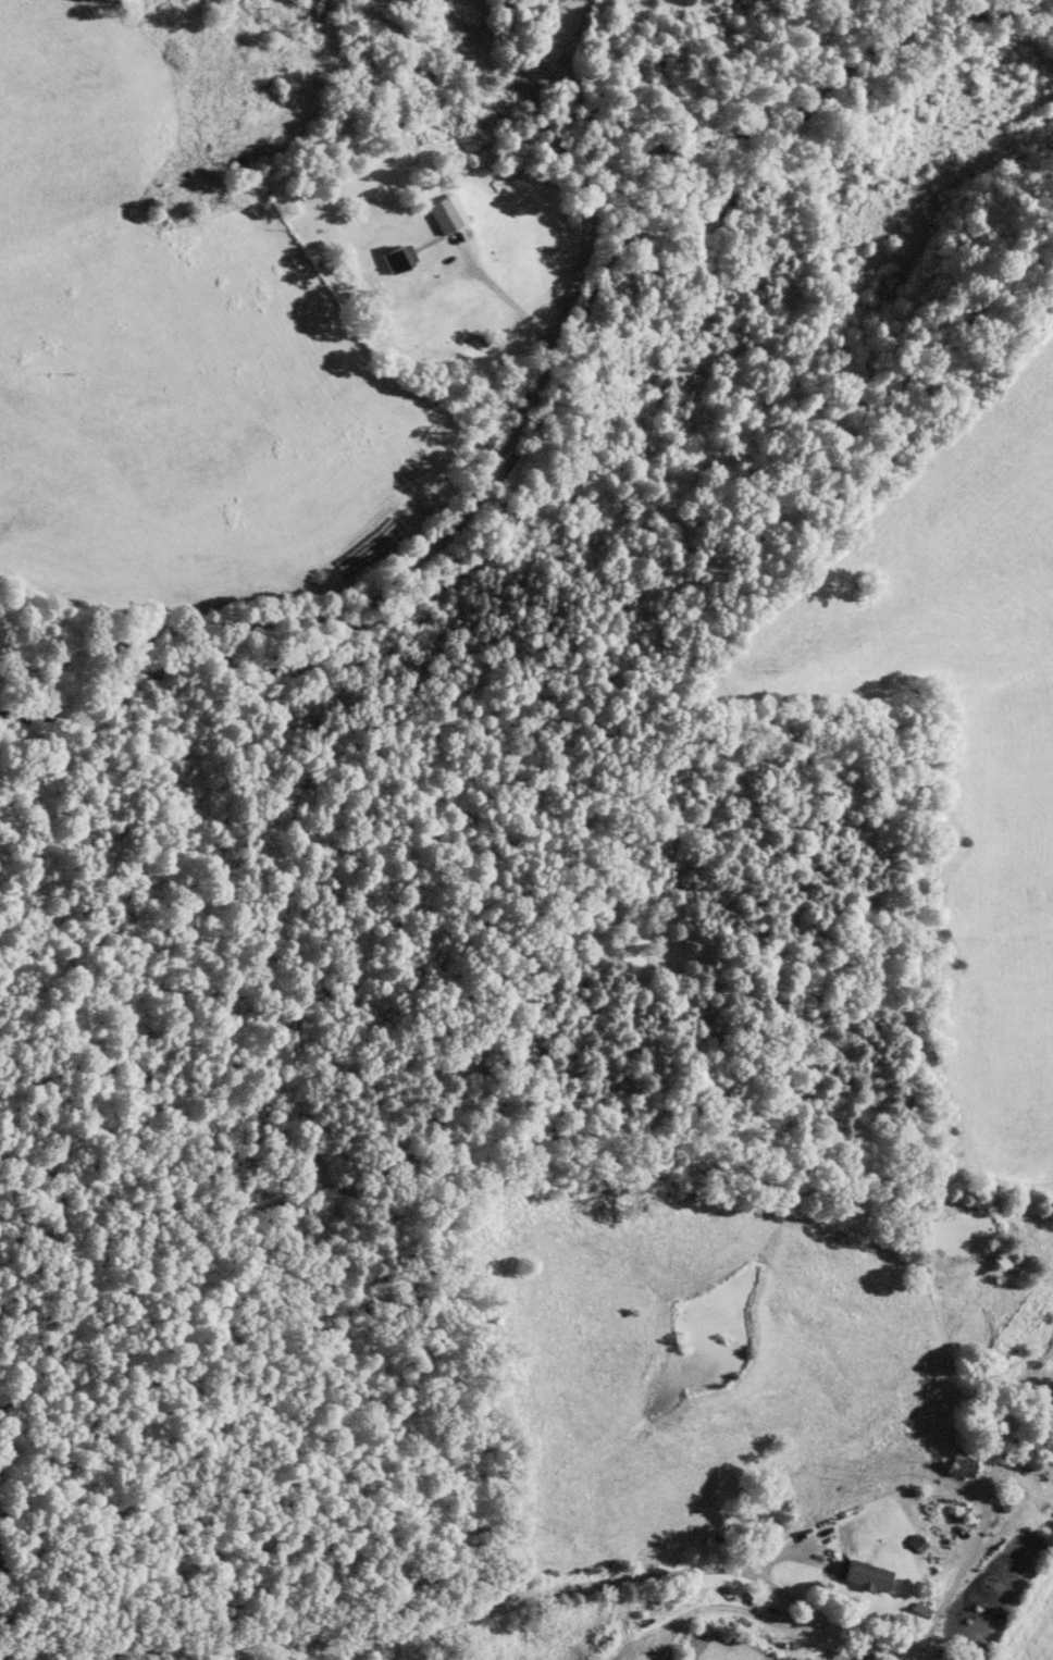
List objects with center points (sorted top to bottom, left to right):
building: (441, 216)
building: (397, 257)
road: (481, 490)
building: (961, 1466)
road: (981, 1520)
building: (866, 1577)
road: (467, 1615)

